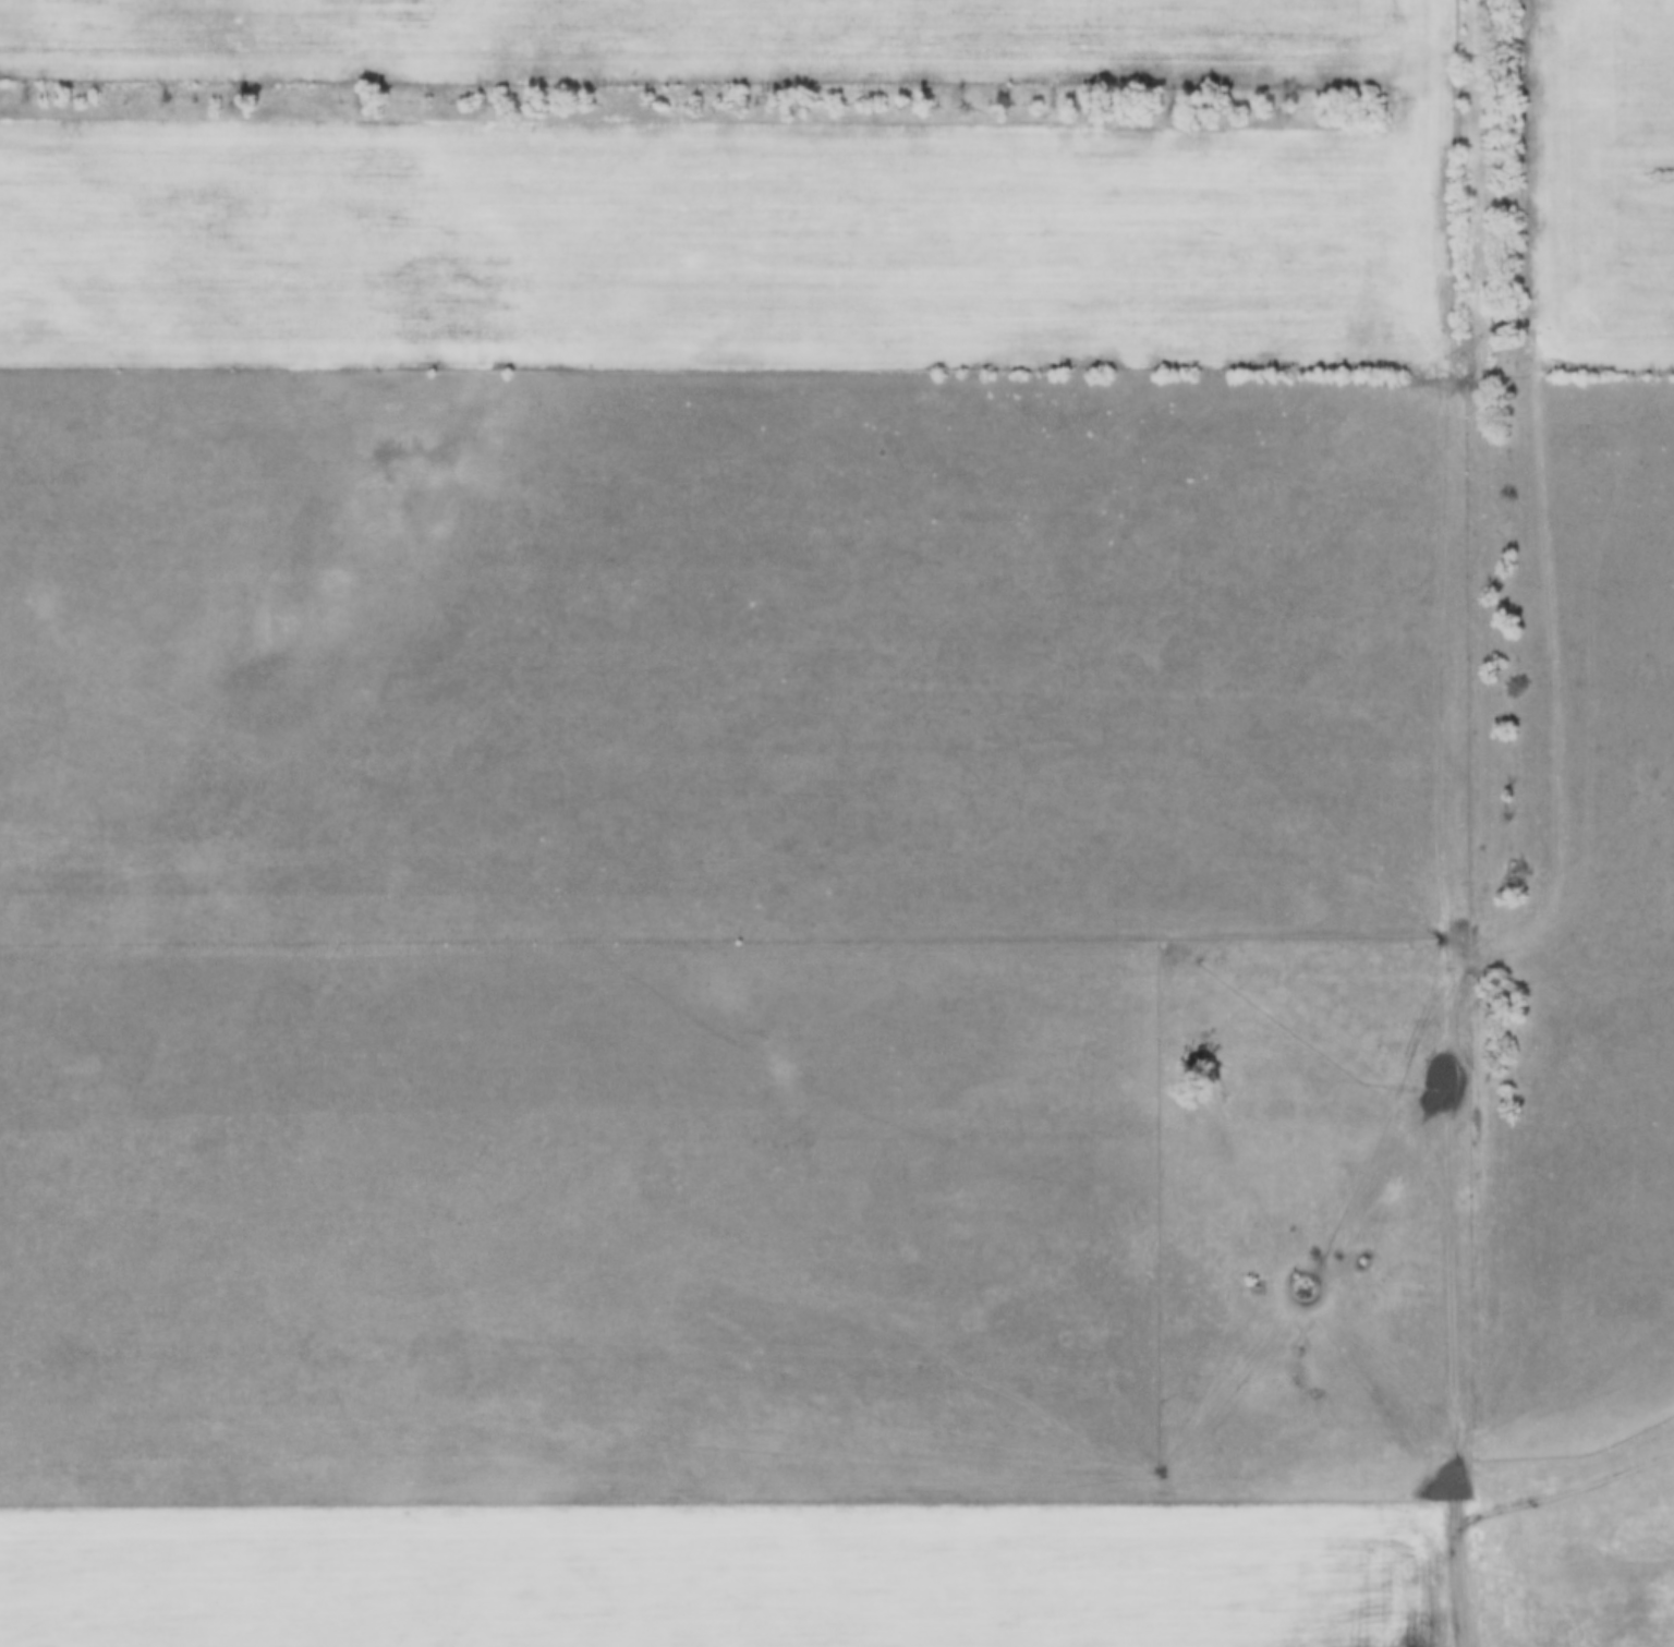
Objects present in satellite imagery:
road: (1451, 998)

